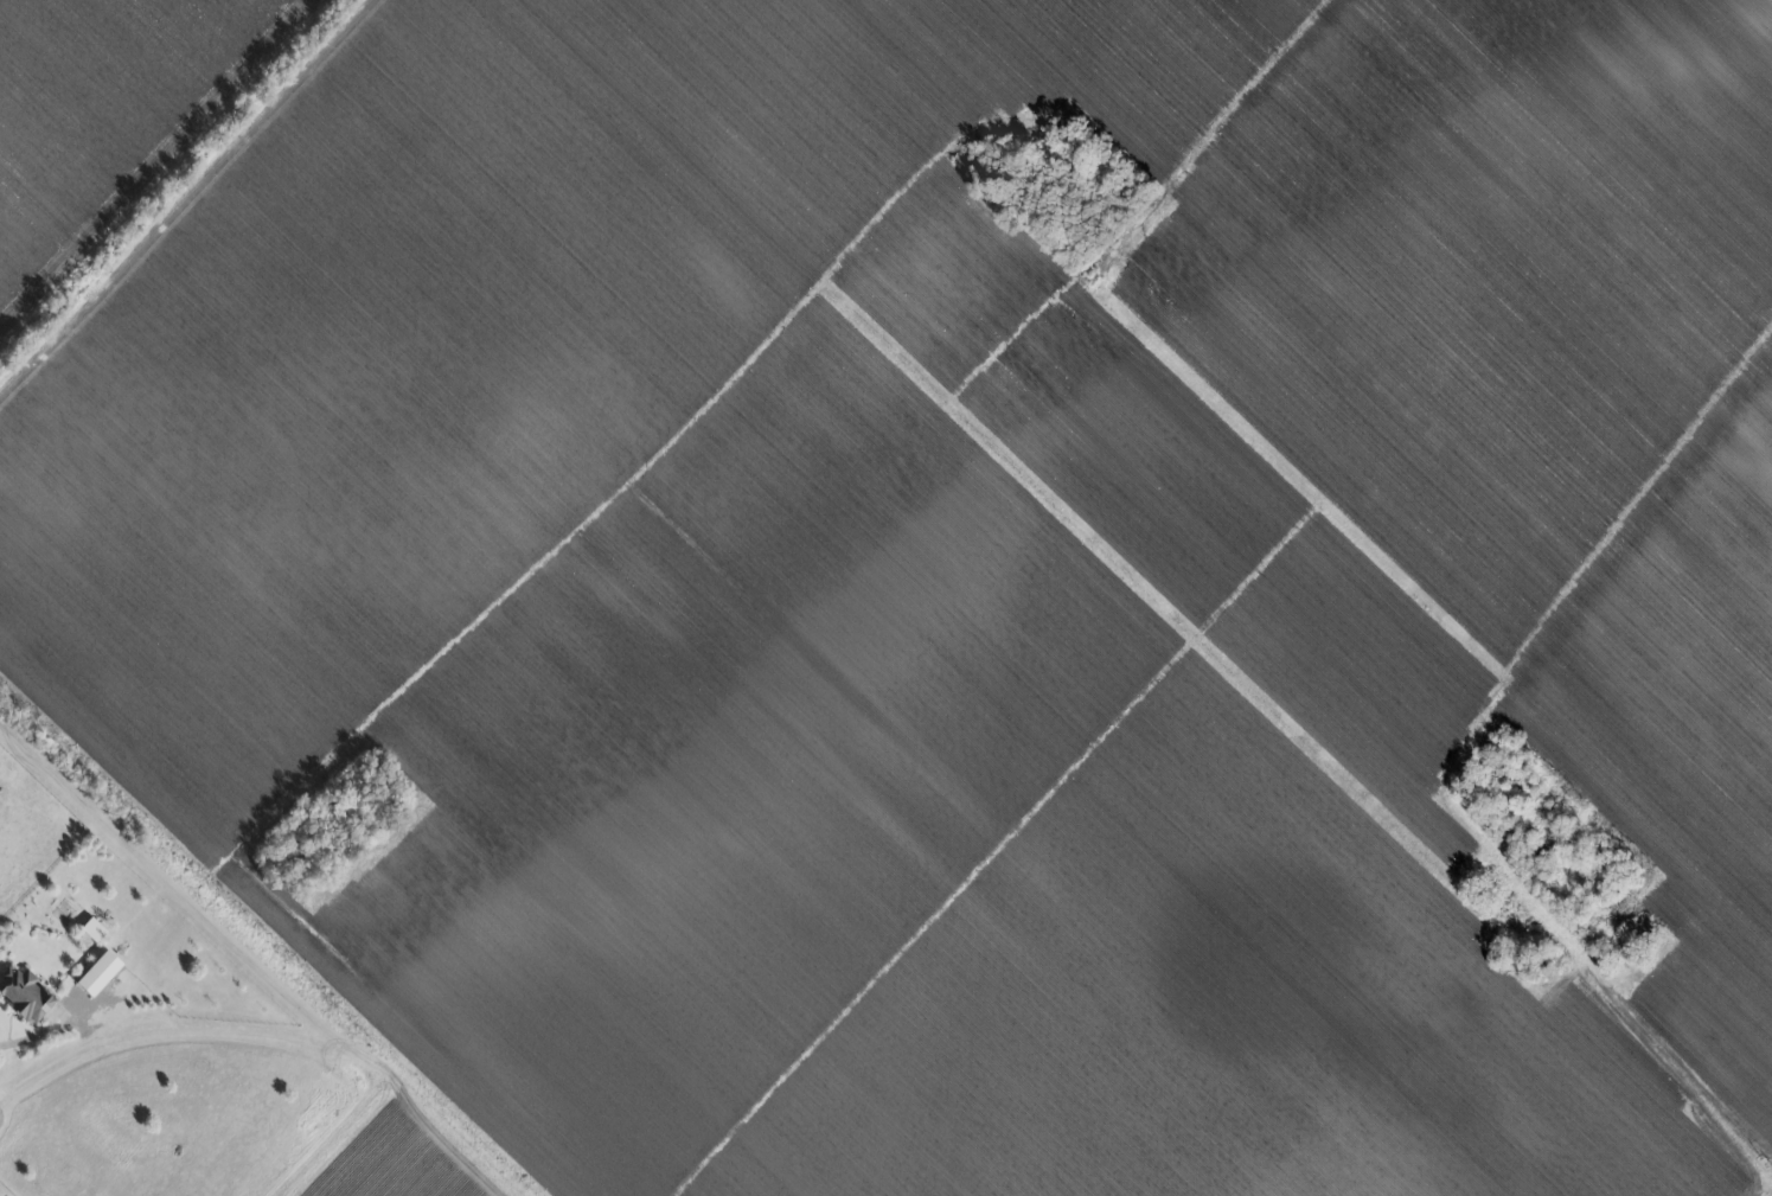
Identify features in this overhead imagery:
building: (94, 928)
building: (100, 972)
building: (26, 993)
road: (28, 1040)
road: (207, 1043)

